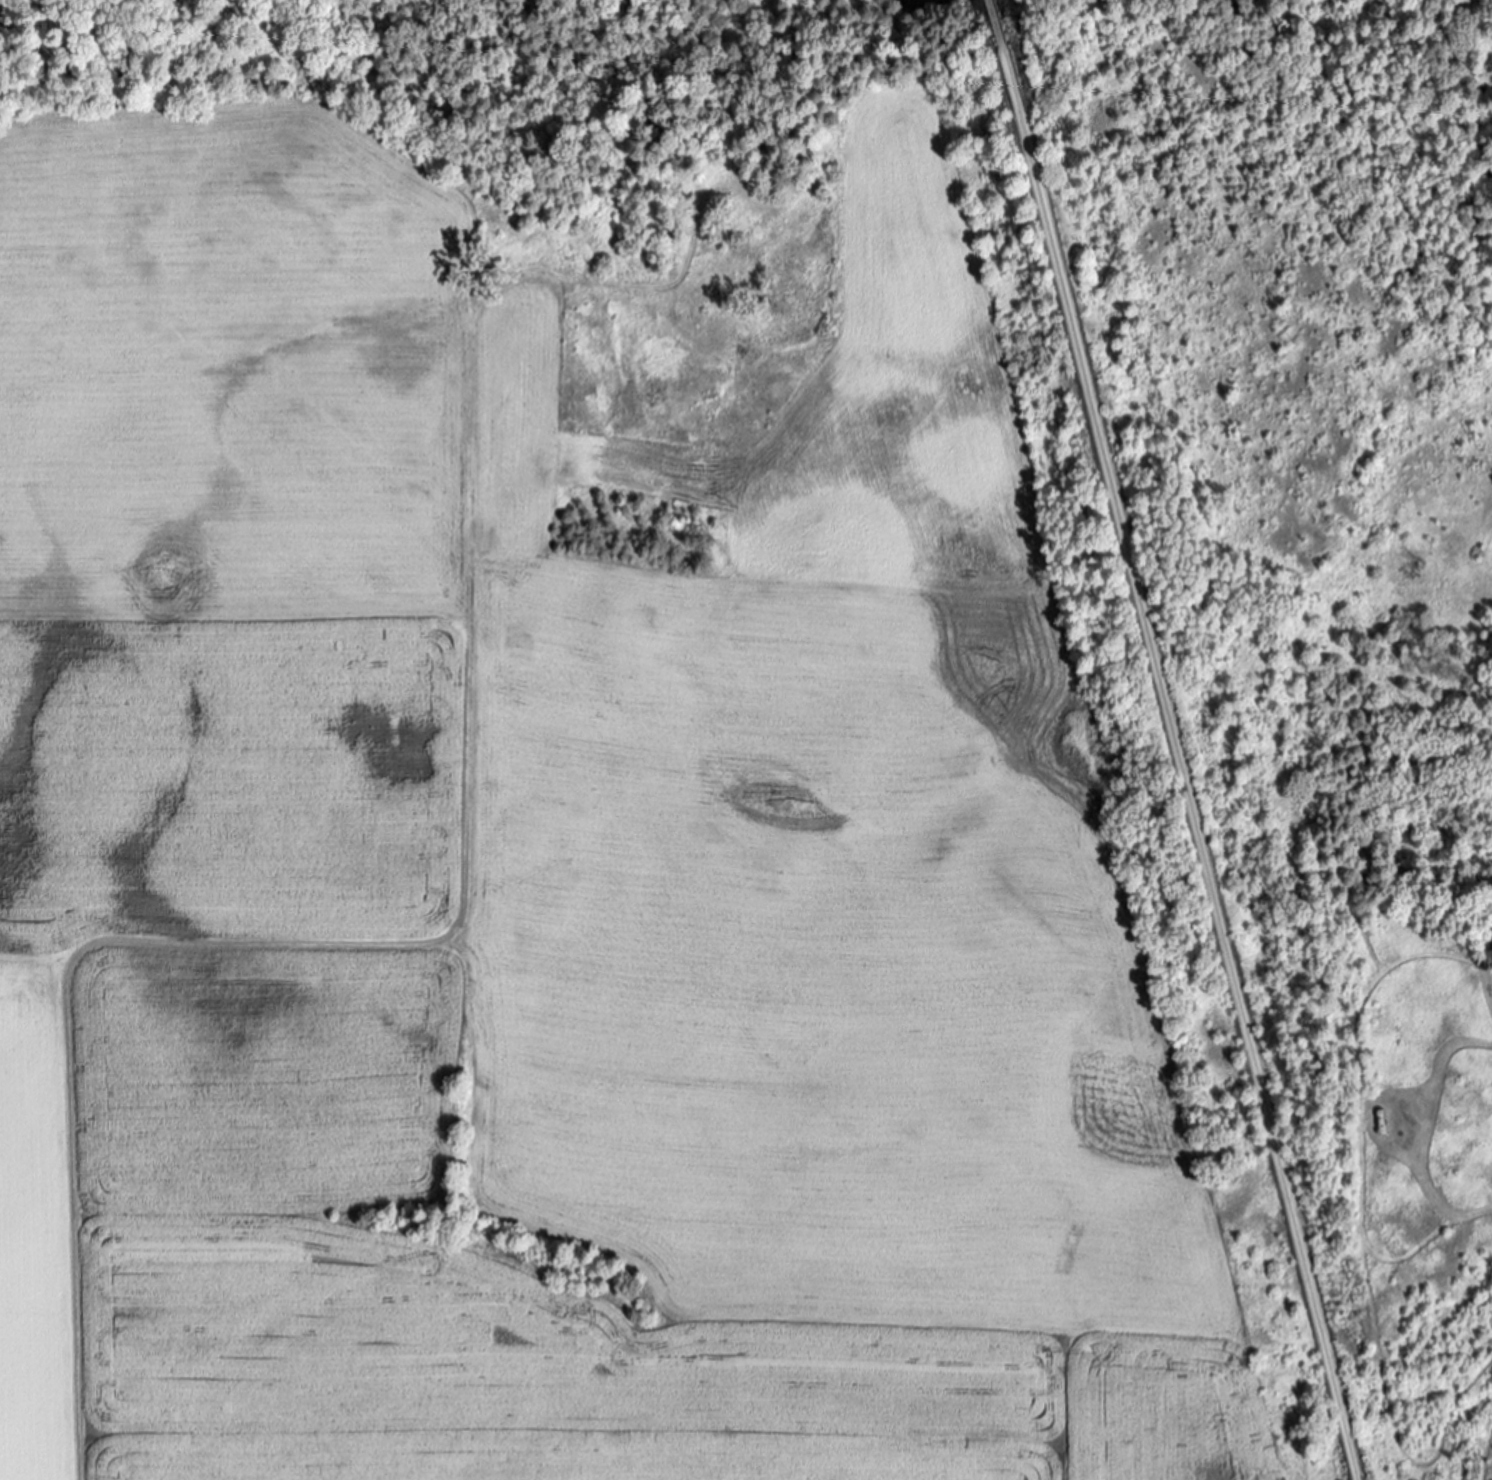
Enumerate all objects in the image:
road: (999, 39)
road: (1184, 780)

